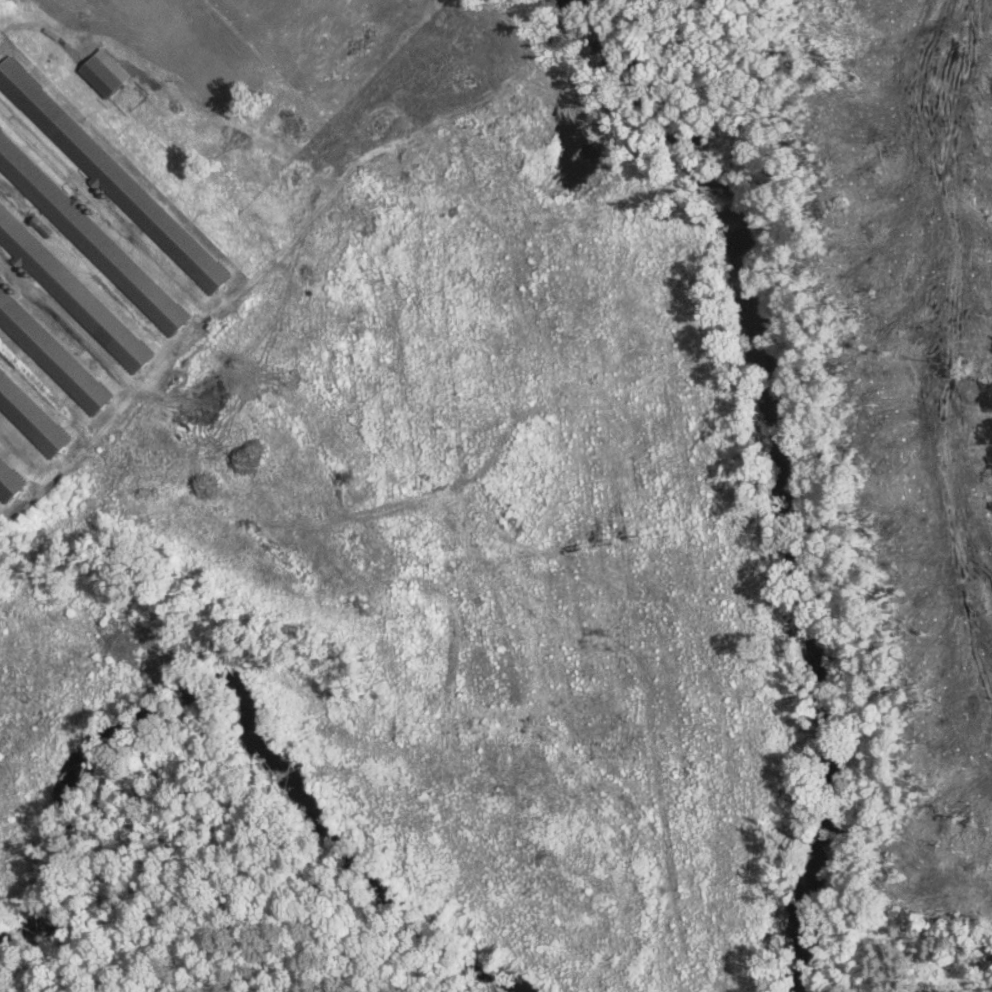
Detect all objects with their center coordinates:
building: (101, 77)
building: (113, 177)
building: (91, 238)
building: (72, 293)
building: (53, 354)
building: (32, 417)
building: (11, 480)

